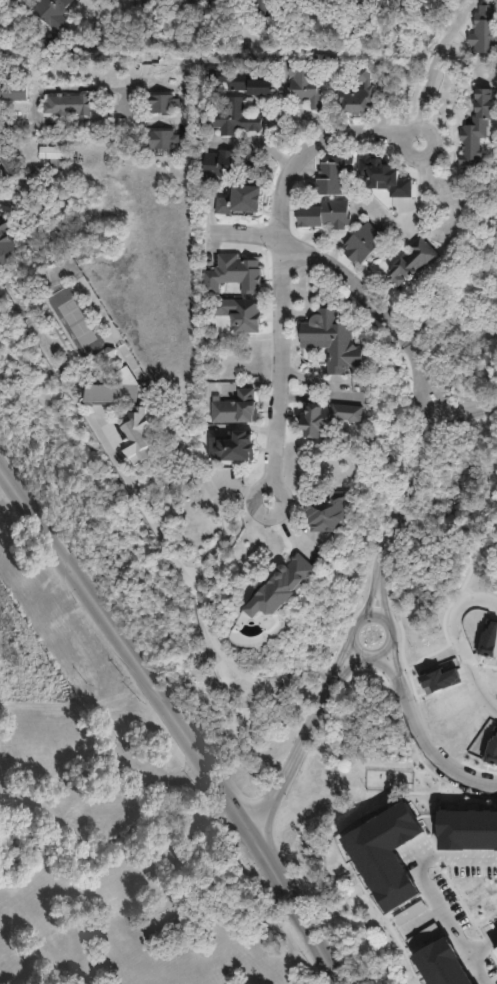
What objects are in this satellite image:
building: (375, 2)
building: (317, 3)
building: (335, 4)
building: (409, 5)
building: (264, 8)
building: (52, 10)
road: (149, 49)
road: (436, 58)
building: (246, 83)
building: (308, 84)
building: (194, 87)
building: (15, 89)
building: (362, 93)
road: (37, 94)
building: (162, 104)
building: (69, 105)
building: (237, 118)
building: (478, 118)
building: (194, 131)
building: (166, 139)
road: (303, 144)
building: (57, 155)
road: (417, 155)
building: (9, 159)
building: (235, 166)
building: (334, 175)
building: (38, 182)
building: (243, 200)
building: (330, 213)
building: (5, 241)
building: (370, 241)
road: (325, 258)
building: (411, 260)
building: (237, 273)
building: (334, 339)
road: (273, 352)
building: (114, 355)
road: (416, 357)
building: (118, 393)
road: (441, 395)
road: (427, 403)
building: (240, 407)
building: (332, 417)
building: (101, 428)
building: (146, 434)
building: (222, 487)
building: (487, 505)
road: (274, 507)
building: (336, 511)
road: (363, 603)
building: (477, 640)
road: (456, 647)
road: (406, 680)
road: (176, 719)
building: (475, 746)
road: (158, 775)
road: (476, 776)
building: (468, 829)
building: (351, 833)
building: (437, 844)
building: (387, 854)
park: (129, 858)
building: (427, 881)
road: (423, 882)
building: (484, 906)
building: (451, 918)
road: (481, 944)
building: (414, 950)
building: (495, 951)
building: (443, 965)

